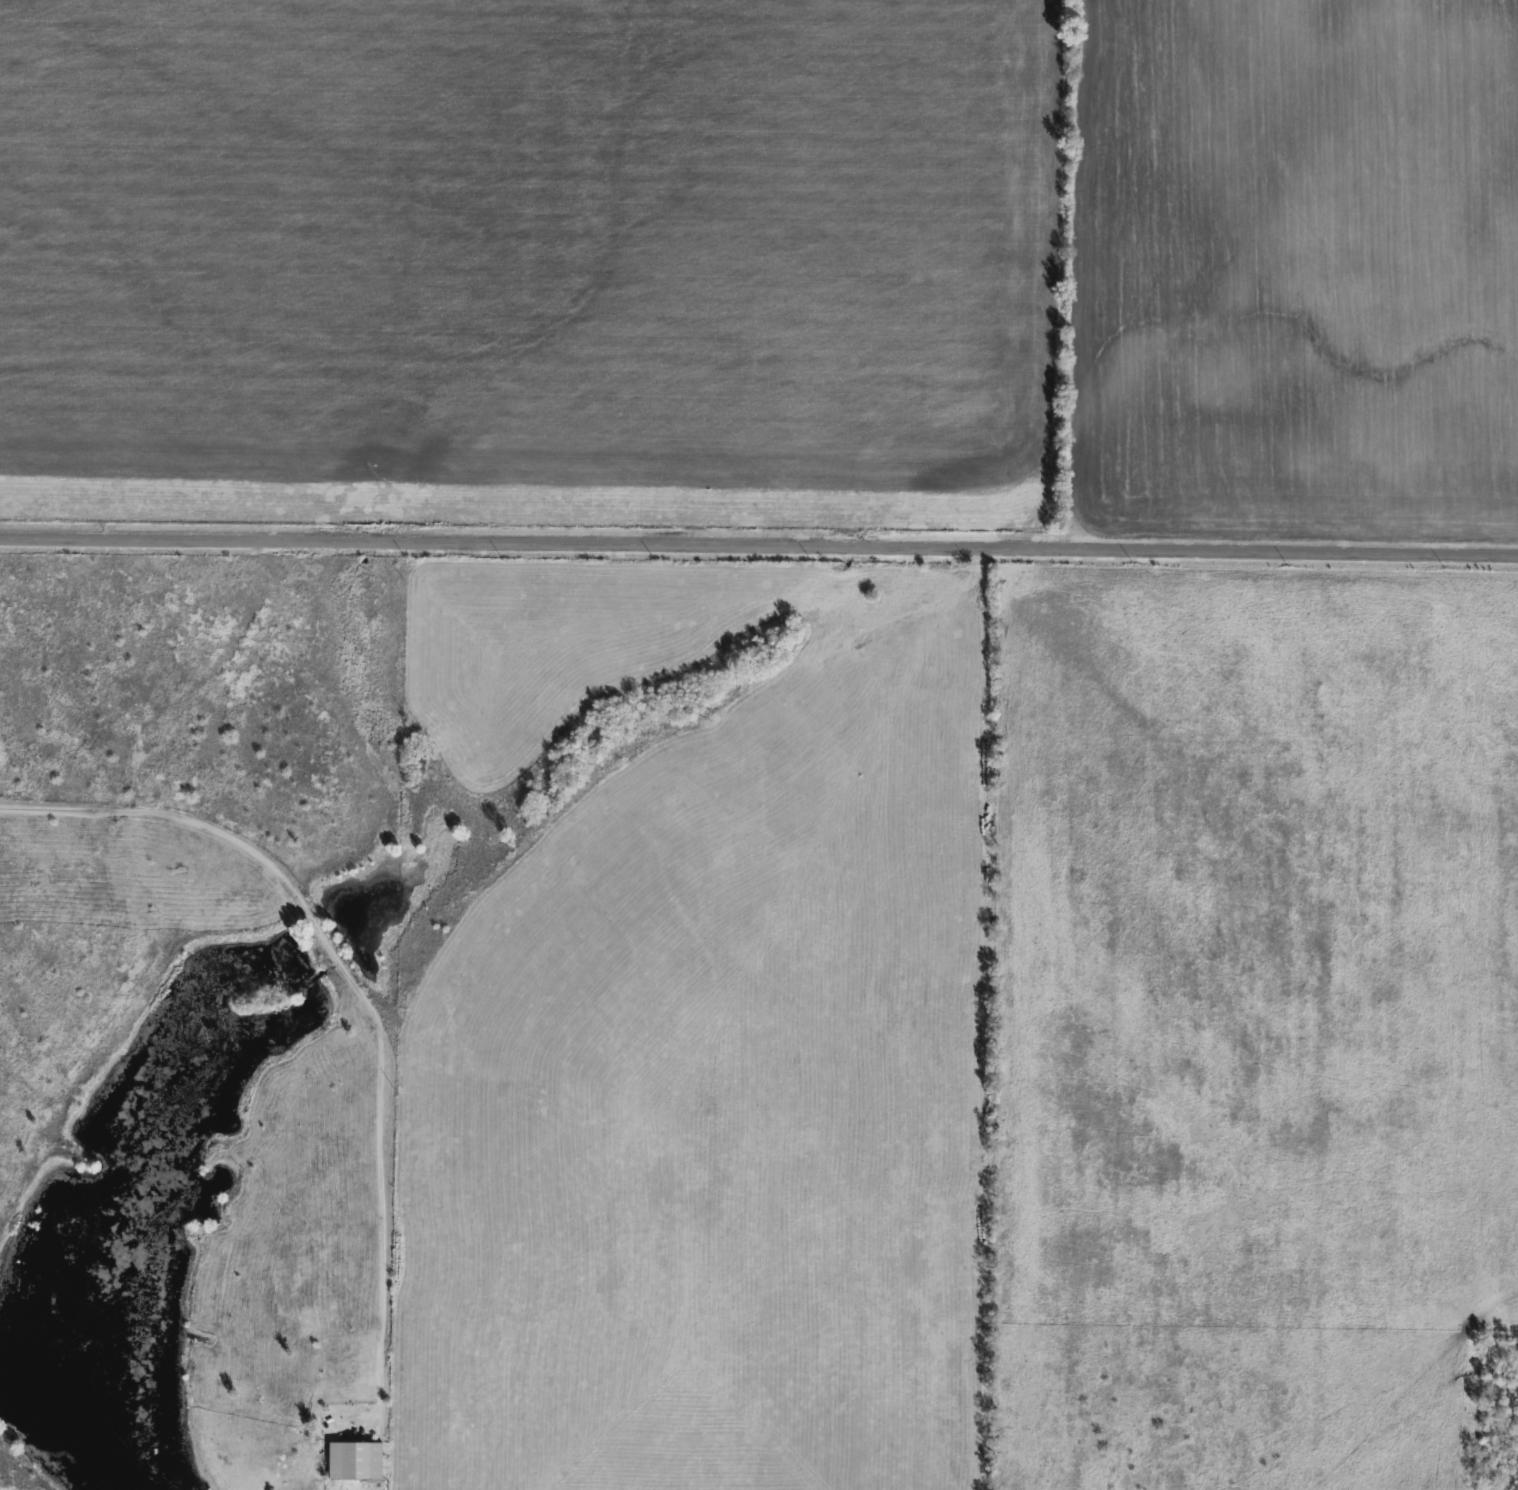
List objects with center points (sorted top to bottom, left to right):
road: (758, 553)
road: (351, 981)
building: (353, 1460)

